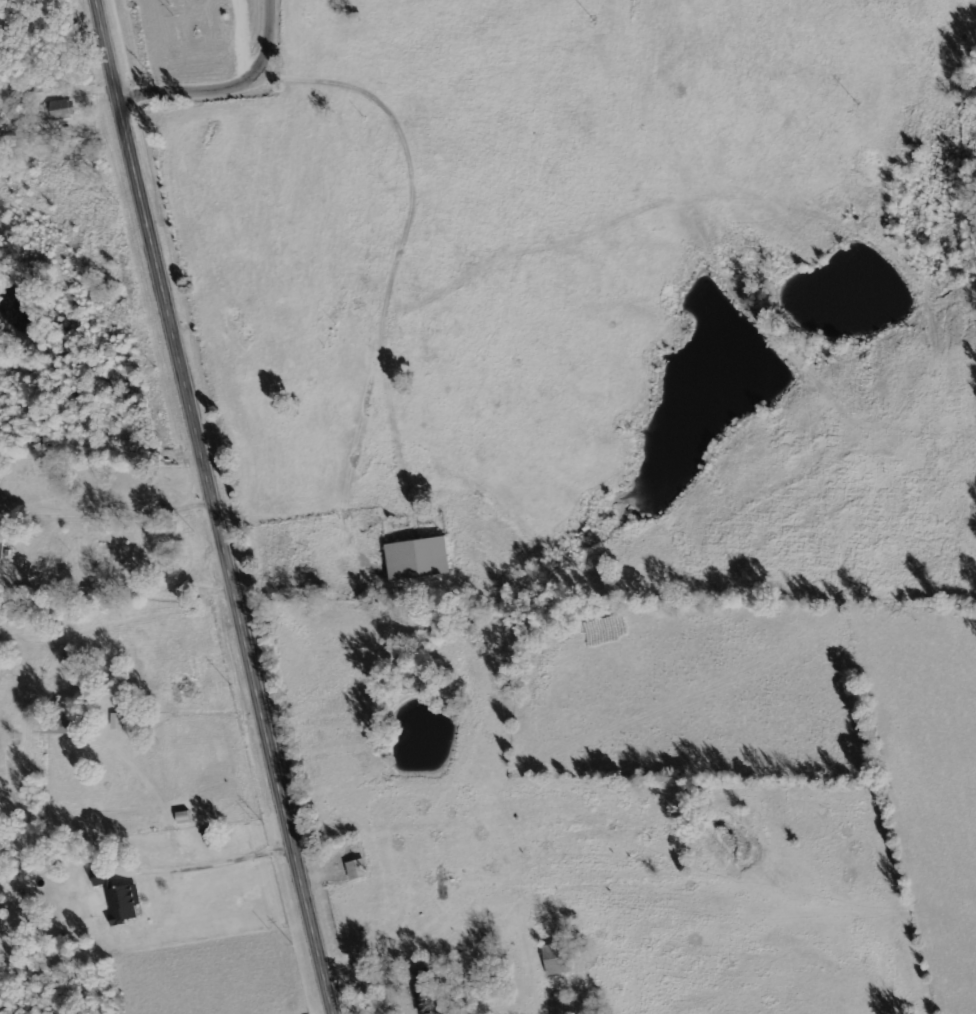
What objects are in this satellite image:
road: (228, 83)
building: (61, 109)
road: (216, 506)
building: (1, 544)
building: (418, 558)
building: (116, 721)
building: (70, 727)
building: (183, 817)
building: (357, 869)
building: (123, 903)
building: (556, 959)
building: (423, 990)

